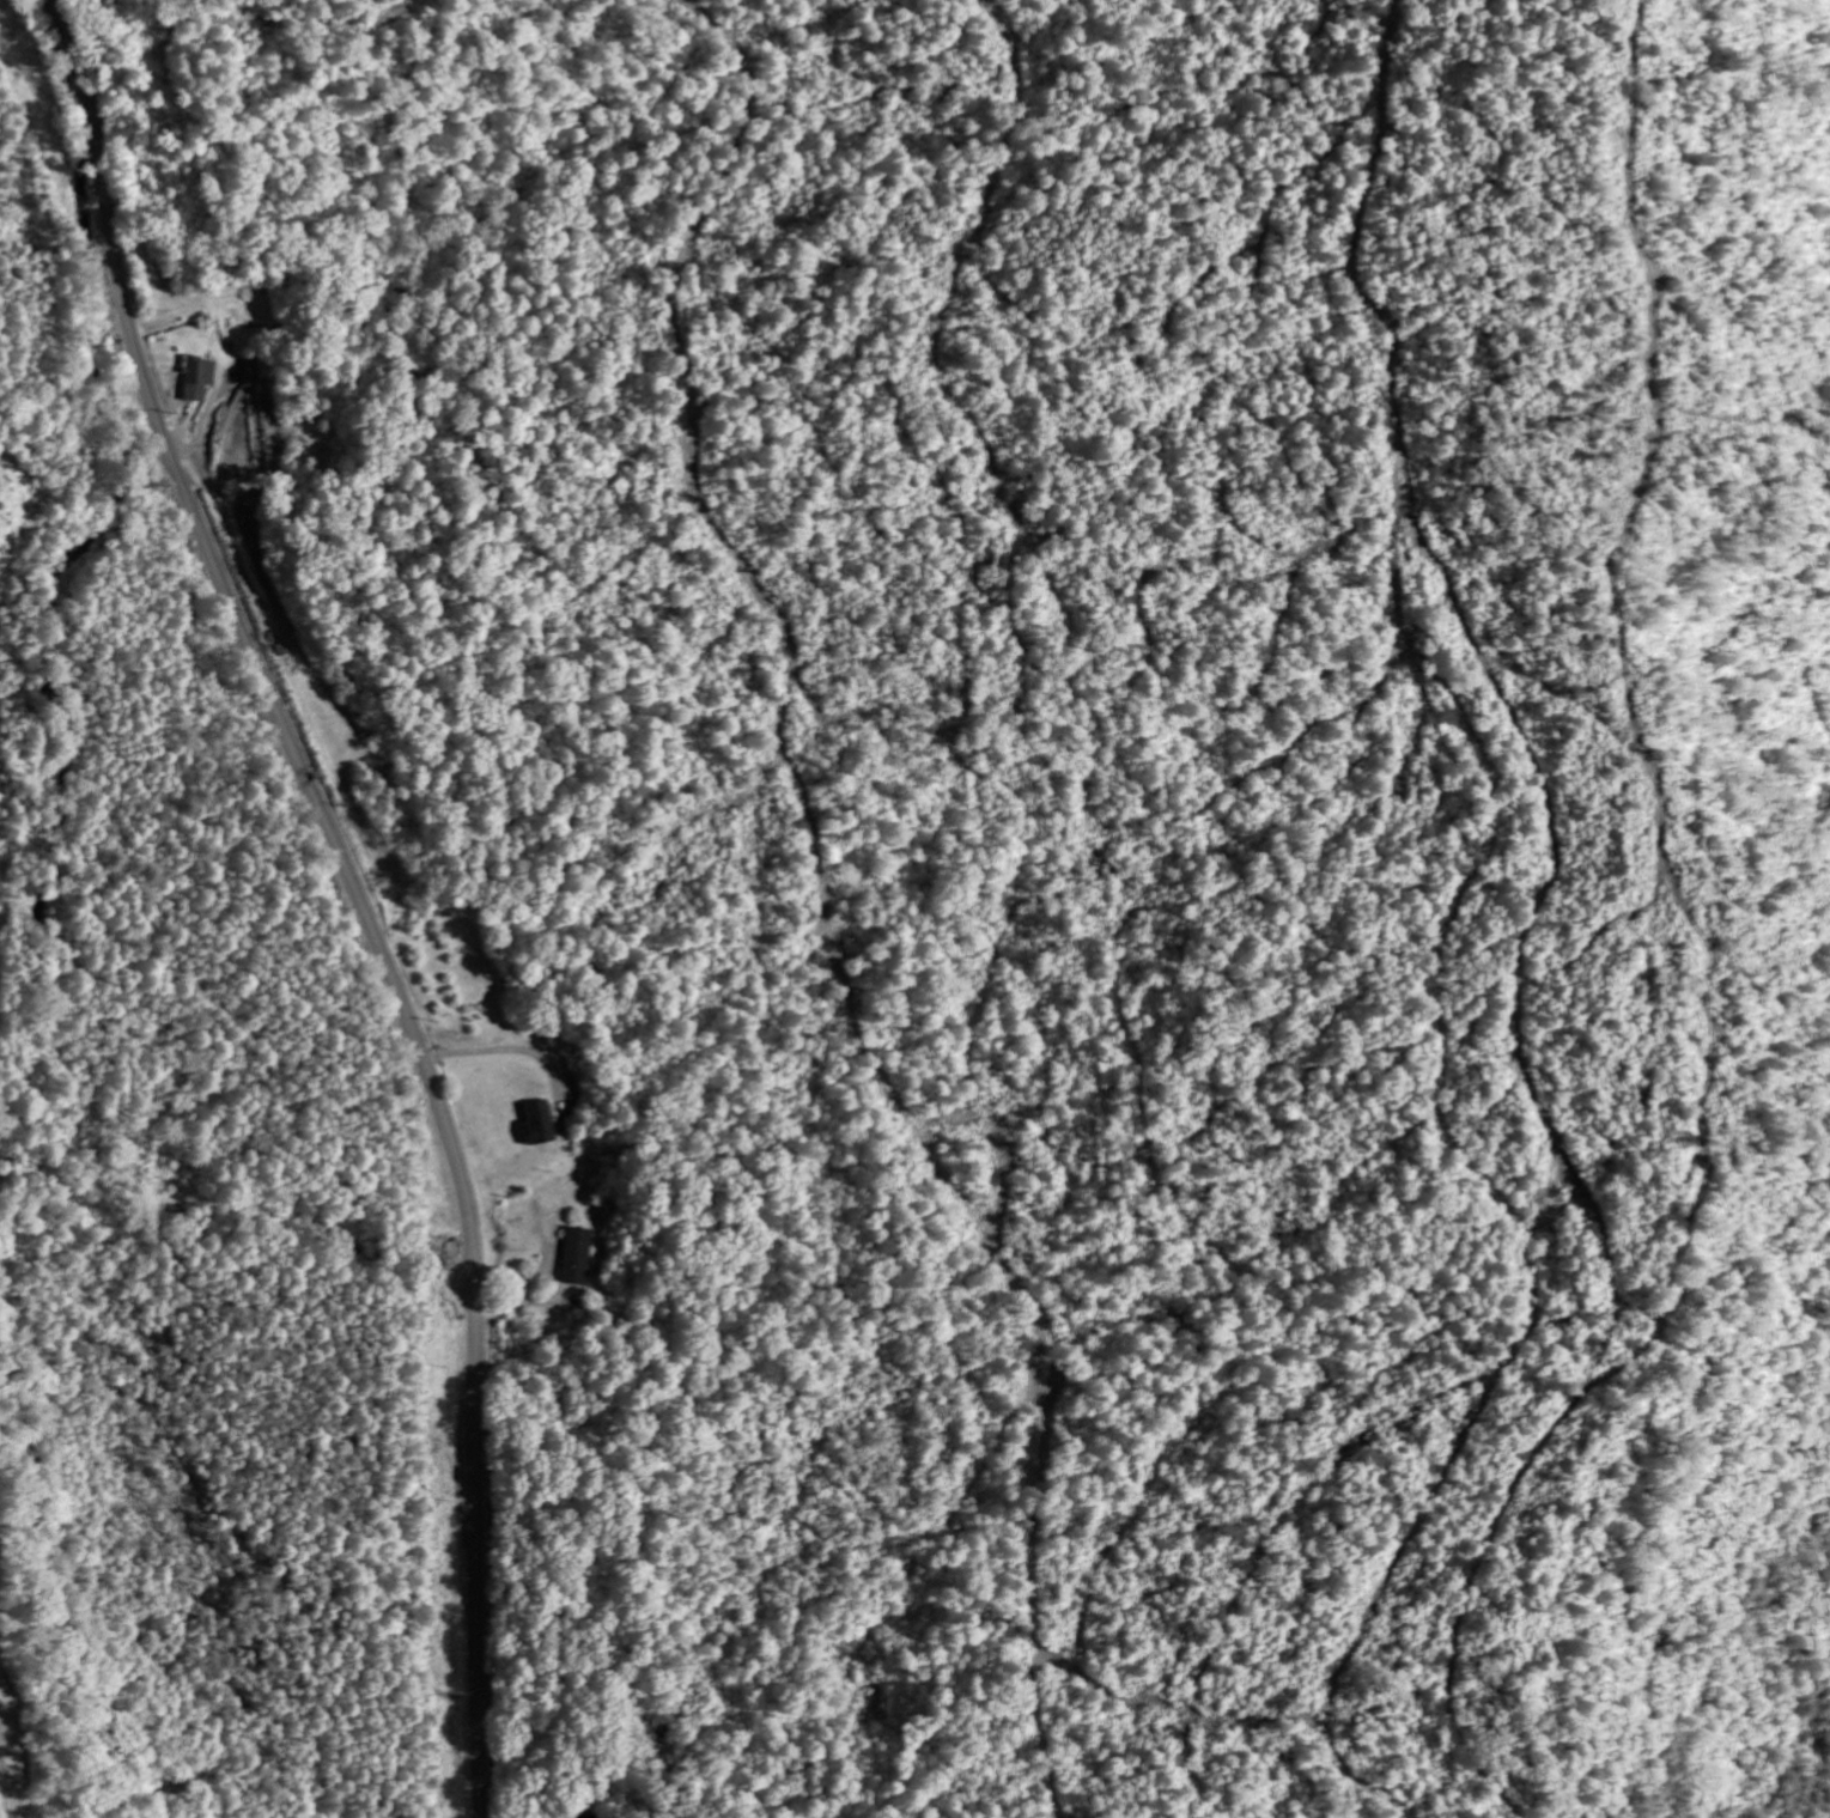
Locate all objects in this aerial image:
building: (196, 379)
road: (357, 890)
building: (536, 1123)
building: (574, 1257)

